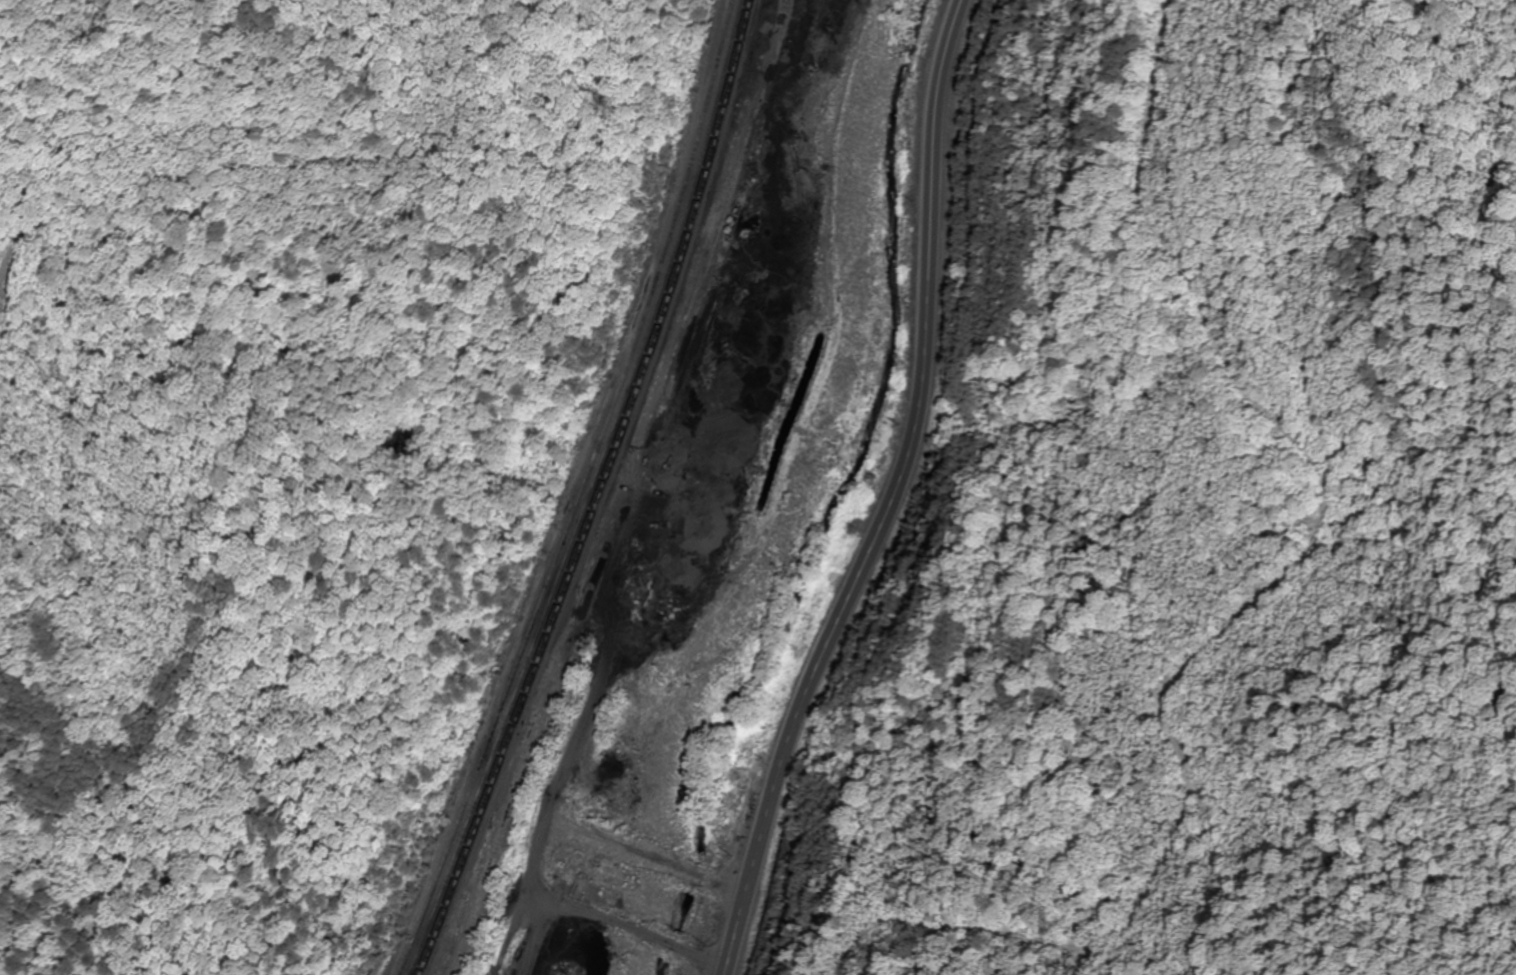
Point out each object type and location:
railway: (708, 241)
railway: (612, 491)
railway: (582, 492)
railway: (593, 492)
railway: (601, 492)
railway: (630, 493)
road: (888, 498)
building: (572, 524)
building: (553, 575)
building: (537, 619)
railway: (515, 811)

